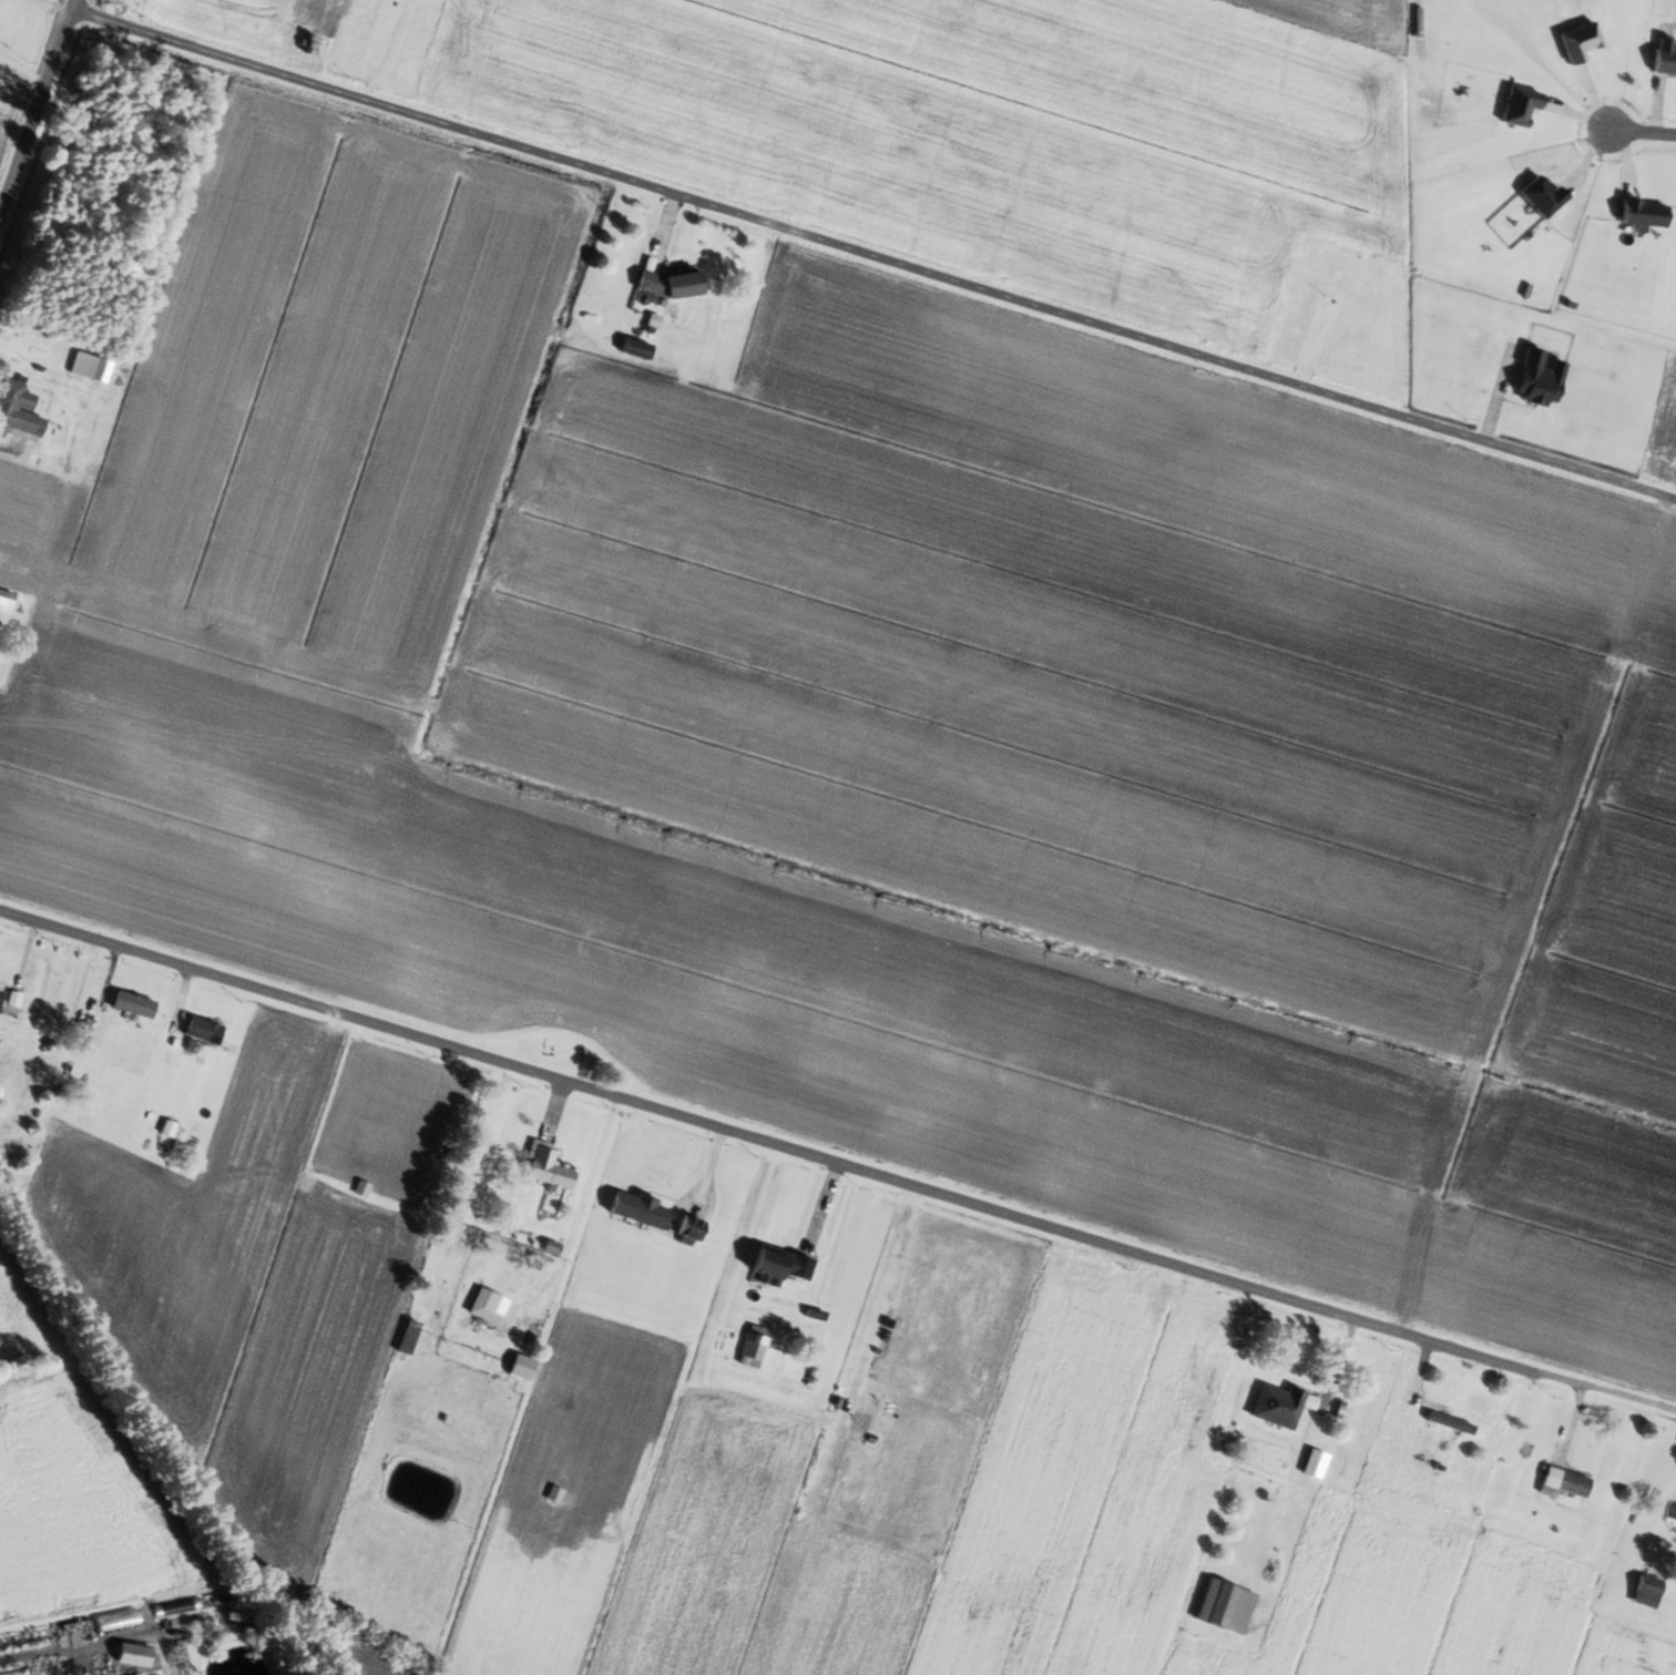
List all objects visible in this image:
building: (1660, 55)
road: (47, 119)
road: (1639, 134)
building: (1639, 212)
road: (872, 261)
building: (666, 282)
building: (631, 348)
building: (84, 367)
building: (1533, 378)
building: (17, 410)
building: (3, 601)
building: (129, 1004)
building: (198, 1030)
road: (778, 1146)
building: (544, 1171)
building: (632, 1209)
building: (682, 1230)
building: (773, 1265)
building: (491, 1305)
building: (402, 1337)
building: (749, 1347)
building: (519, 1362)
road: (1617, 1396)
building: (1274, 1406)
building: (1445, 1423)
building: (1310, 1463)
building: (1560, 1483)
building: (1642, 1590)
building: (1220, 1606)
building: (174, 1607)

